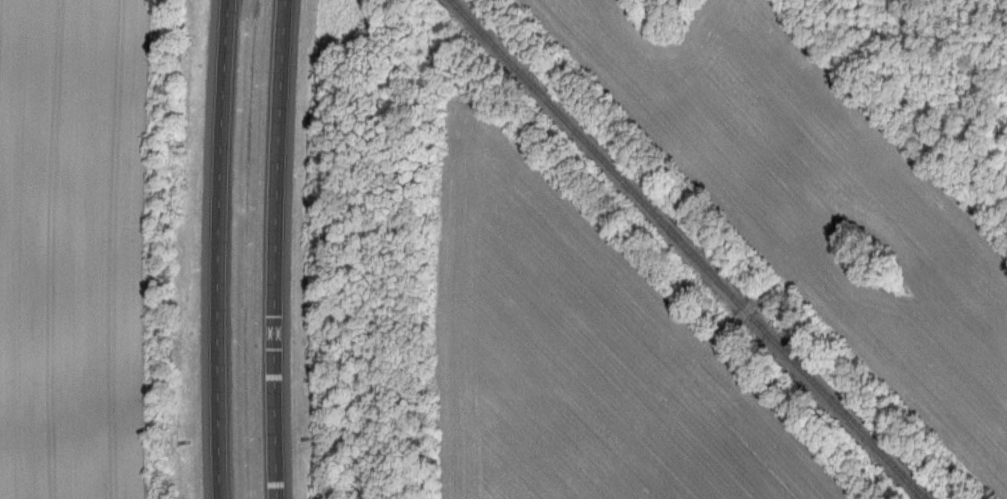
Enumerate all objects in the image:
road: (217, 249)
road: (274, 249)
railway: (686, 249)

